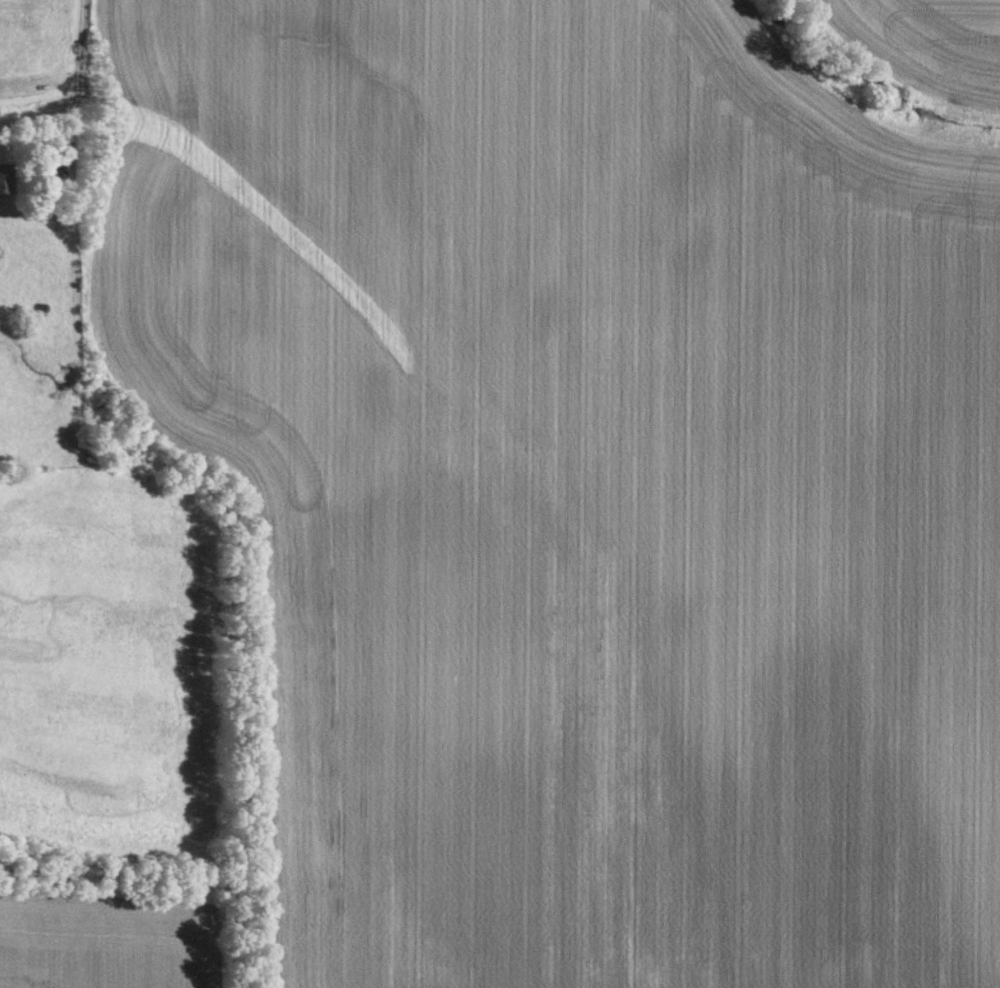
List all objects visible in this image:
road: (77, 41)

